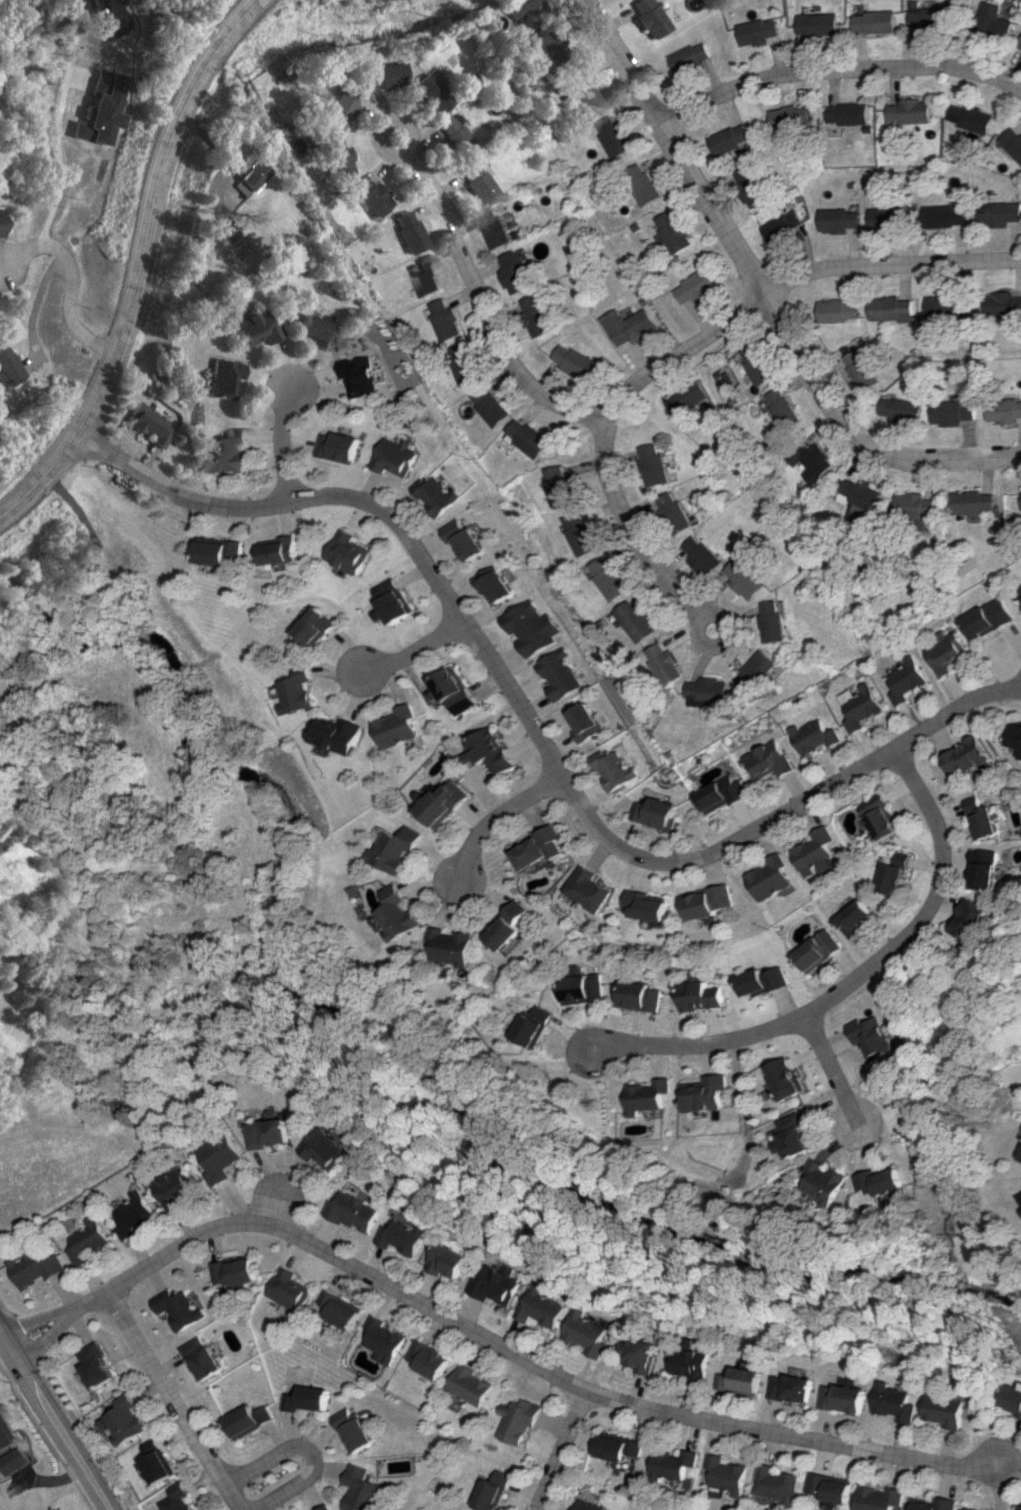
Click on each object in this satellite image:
building: (516, 6)
building: (929, 14)
building: (110, 16)
building: (648, 17)
building: (993, 20)
building: (879, 22)
building: (822, 24)
building: (761, 32)
building: (549, 42)
building: (1019, 46)
building: (690, 56)
road: (840, 71)
building: (381, 75)
building: (580, 90)
building: (431, 92)
building: (101, 109)
building: (334, 109)
building: (914, 111)
building: (854, 113)
building: (795, 117)
building: (973, 117)
road: (56, 122)
building: (456, 137)
building: (615, 137)
building: (733, 139)
building: (1012, 142)
building: (332, 158)
building: (247, 177)
building: (475, 181)
building: (643, 183)
building: (751, 186)
building: (366, 195)
building: (997, 213)
building: (946, 216)
building: (886, 218)
building: (842, 219)
building: (0, 223)
building: (784, 226)
building: (498, 227)
building: (404, 231)
building: (672, 231)
building: (234, 246)
road: (136, 261)
building: (519, 272)
building: (427, 275)
road: (73, 278)
road: (789, 283)
building: (691, 287)
road: (760, 292)
road: (481, 294)
road: (34, 301)
building: (1004, 304)
building: (947, 307)
building: (895, 309)
building: (841, 310)
building: (541, 315)
building: (449, 319)
building: (629, 325)
building: (256, 327)
building: (316, 330)
building: (578, 361)
building: (468, 364)
building: (754, 364)
building: (7, 365)
building: (867, 374)
building: (356, 375)
building: (222, 378)
building: (723, 378)
building: (681, 398)
building: (496, 405)
building: (782, 408)
building: (904, 410)
building: (1004, 410)
building: (954, 412)
building: (147, 424)
building: (534, 437)
road: (282, 440)
building: (337, 446)
building: (232, 451)
building: (396, 457)
building: (810, 459)
building: (647, 464)
building: (564, 486)
building: (438, 495)
building: (862, 501)
building: (976, 502)
building: (925, 510)
building: (667, 512)
building: (582, 534)
road: (631, 535)
building: (467, 540)
building: (225, 551)
building: (284, 551)
building: (354, 552)
building: (697, 555)
building: (744, 577)
building: (606, 578)
building: (496, 586)
building: (398, 601)
building: (990, 618)
building: (633, 621)
building: (771, 621)
building: (320, 626)
building: (530, 628)
building: (947, 652)
road: (415, 653)
building: (663, 663)
building: (756, 671)
building: (557, 674)
building: (906, 680)
building: (455, 690)
building: (303, 691)
building: (708, 691)
building: (857, 706)
building: (583, 722)
road: (532, 726)
building: (401, 727)
building: (341, 734)
building: (1017, 735)
building: (811, 736)
building: (494, 750)
building: (967, 756)
building: (766, 760)
building: (613, 769)
building: (721, 794)
building: (449, 803)
building: (657, 813)
building: (878, 817)
building: (982, 818)
road: (499, 819)
building: (2, 842)
building: (543, 847)
building: (401, 849)
building: (815, 853)
building: (985, 869)
building: (892, 876)
building: (771, 878)
building: (593, 889)
building: (710, 902)
building: (651, 905)
building: (404, 913)
building: (855, 918)
building: (975, 918)
building: (512, 926)
building: (457, 946)
building: (817, 950)
building: (761, 981)
road: (852, 981)
building: (583, 989)
building: (698, 993)
building: (640, 996)
building: (535, 1026)
building: (873, 1036)
road: (832, 1075)
building: (786, 1078)
building: (650, 1095)
building: (706, 1095)
building: (117, 1105)
building: (266, 1133)
building: (794, 1136)
building: (323, 1148)
building: (218, 1157)
building: (1020, 1158)
building: (888, 1180)
building: (828, 1181)
building: (173, 1187)
road: (274, 1207)
building: (352, 1211)
building: (132, 1214)
building: (400, 1237)
building: (86, 1241)
building: (445, 1260)
building: (35, 1268)
building: (231, 1274)
building: (493, 1285)
building: (287, 1290)
building: (538, 1307)
building: (179, 1308)
building: (338, 1310)
road: (36, 1319)
building: (584, 1333)
road: (45, 1335)
building: (380, 1340)
road: (512, 1352)
building: (638, 1354)
building: (203, 1358)
building: (425, 1359)
building: (689, 1364)
building: (99, 1365)
building: (740, 1381)
building: (468, 1385)
building: (790, 1388)
building: (841, 1398)
road: (177, 1399)
building: (305, 1399)
building: (1011, 1399)
building: (892, 1402)
building: (942, 1410)
building: (128, 1420)
building: (248, 1420)
building: (518, 1420)
road: (55, 1422)
building: (353, 1430)
building: (6, 1433)
building: (618, 1447)
road: (309, 1450)
road: (561, 1450)
building: (16, 1460)
building: (161, 1461)
building: (672, 1464)
building: (728, 1474)
building: (776, 1484)
building: (829, 1487)
building: (361, 1489)
building: (493, 1491)
building: (182, 1498)
building: (880, 1498)
building: (934, 1504)
building: (588, 1506)
building: (325, 1507)
building: (964, 1509)
building: (1020, 1509)

